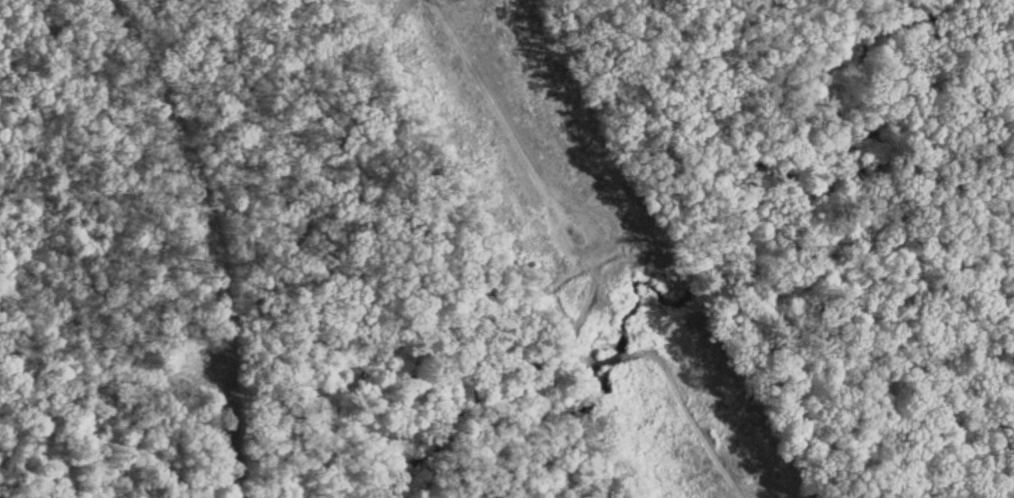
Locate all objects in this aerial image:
road: (205, 218)
road: (116, 454)
road: (233, 476)

